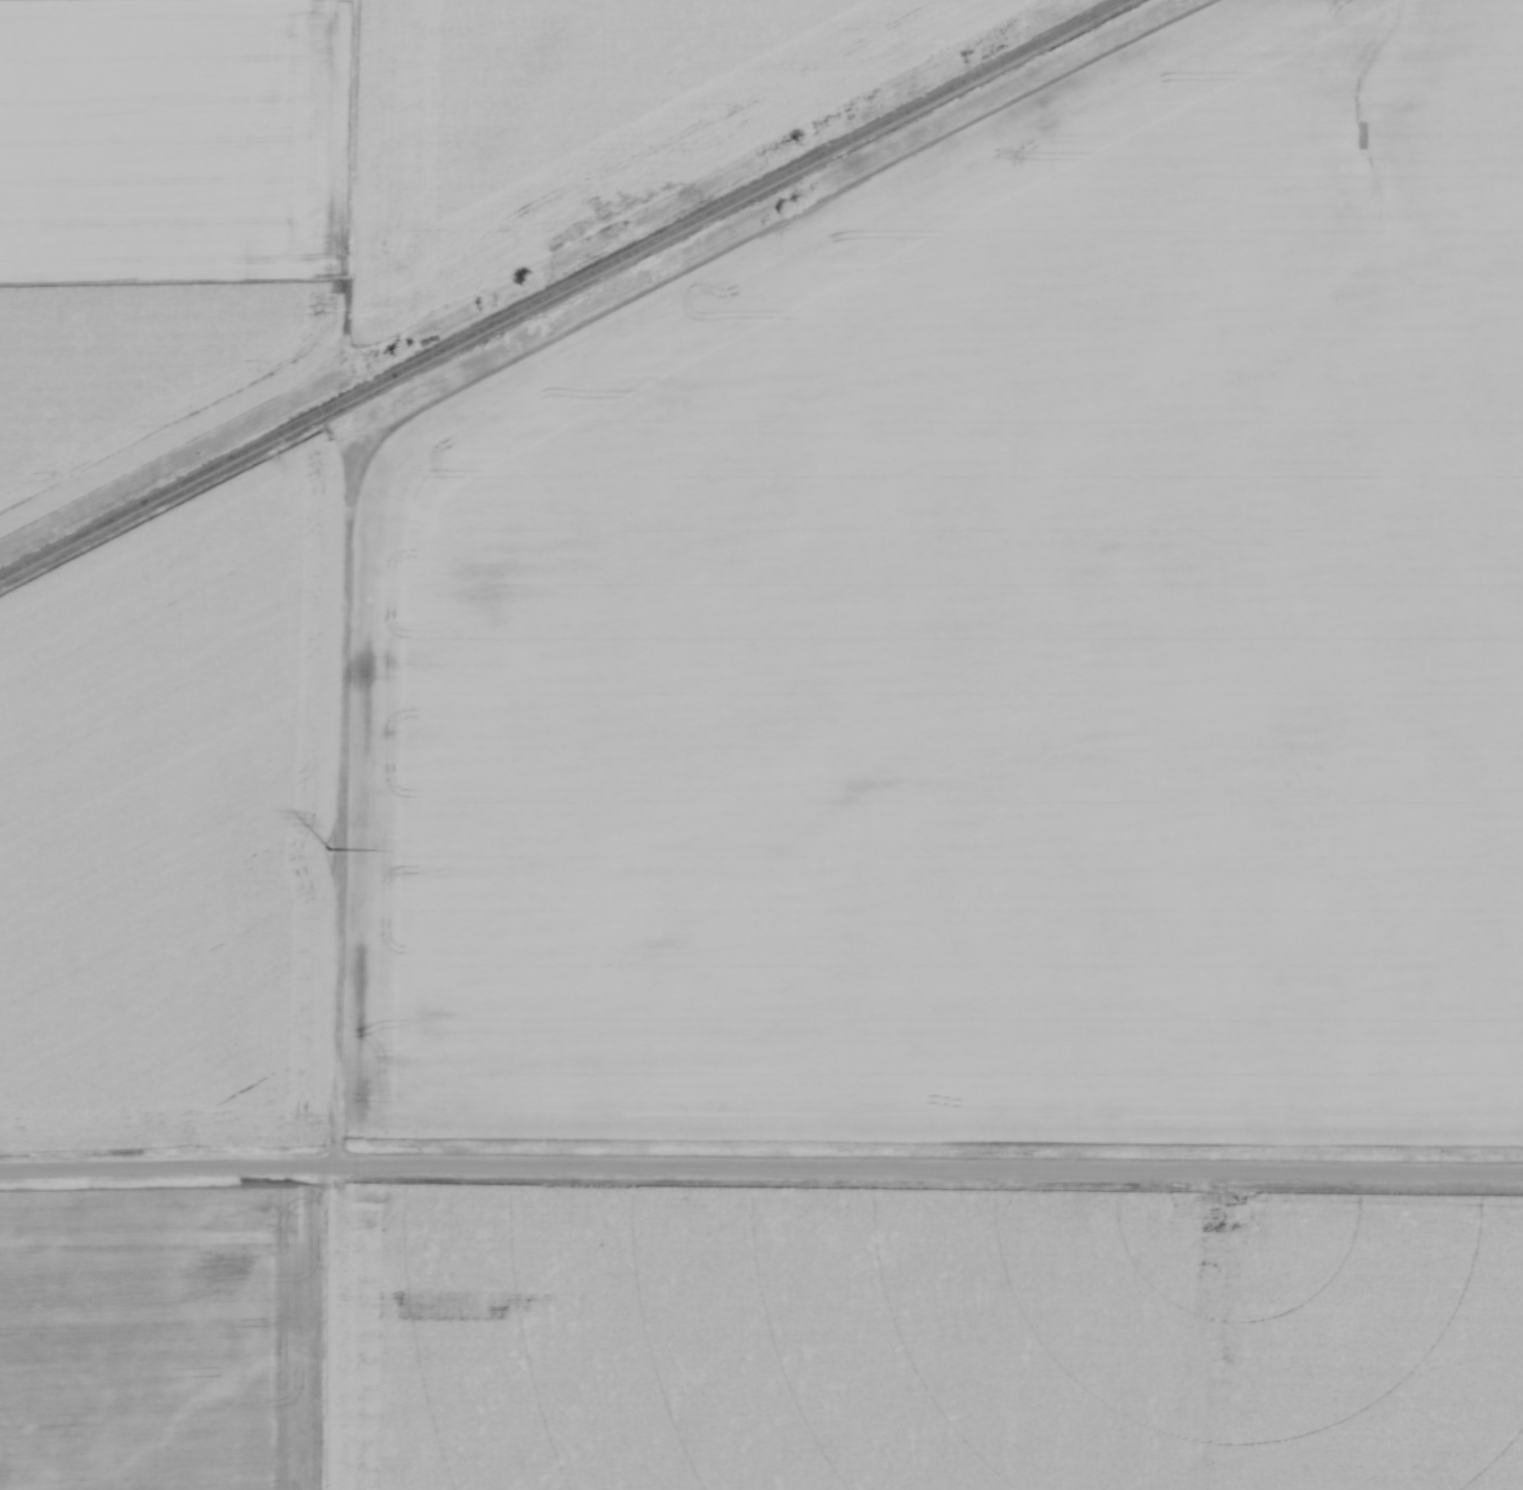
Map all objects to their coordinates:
railway: (550, 276)
power tower: (326, 849)
road: (761, 1189)

